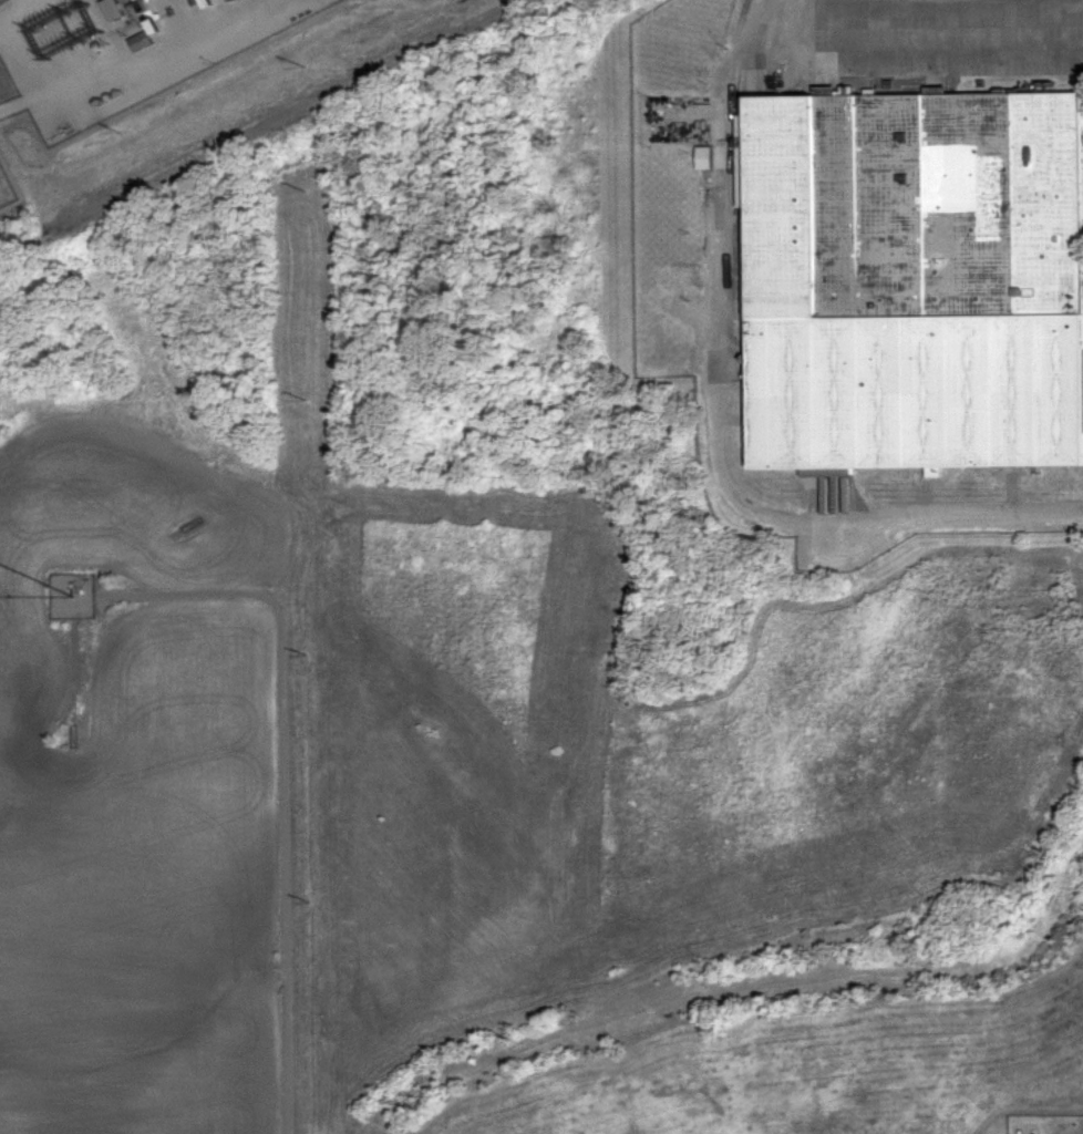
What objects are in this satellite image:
chimney: (145, 6)
railway: (733, 103)
building: (910, 283)
crop: (138, 791)
road: (286, 873)

